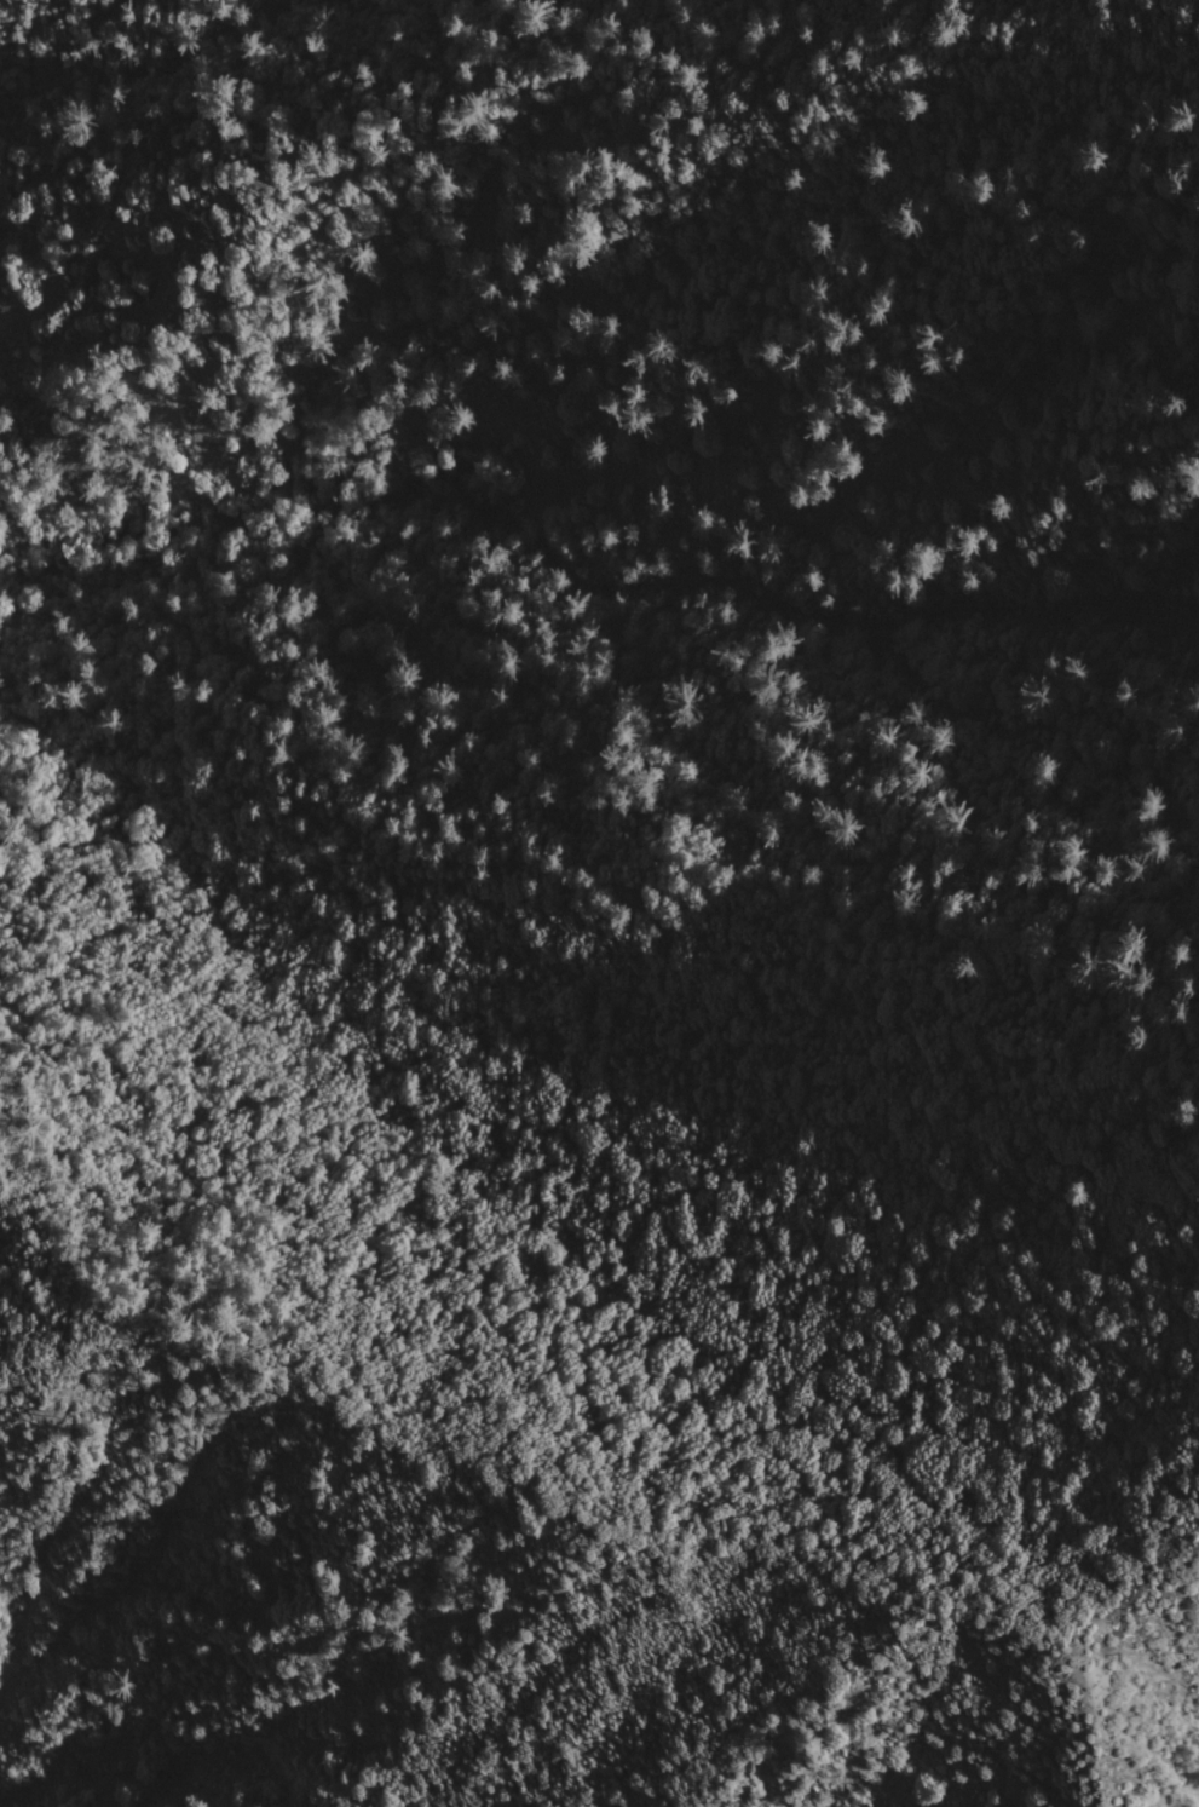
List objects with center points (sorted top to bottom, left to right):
road: (1097, 1633)

